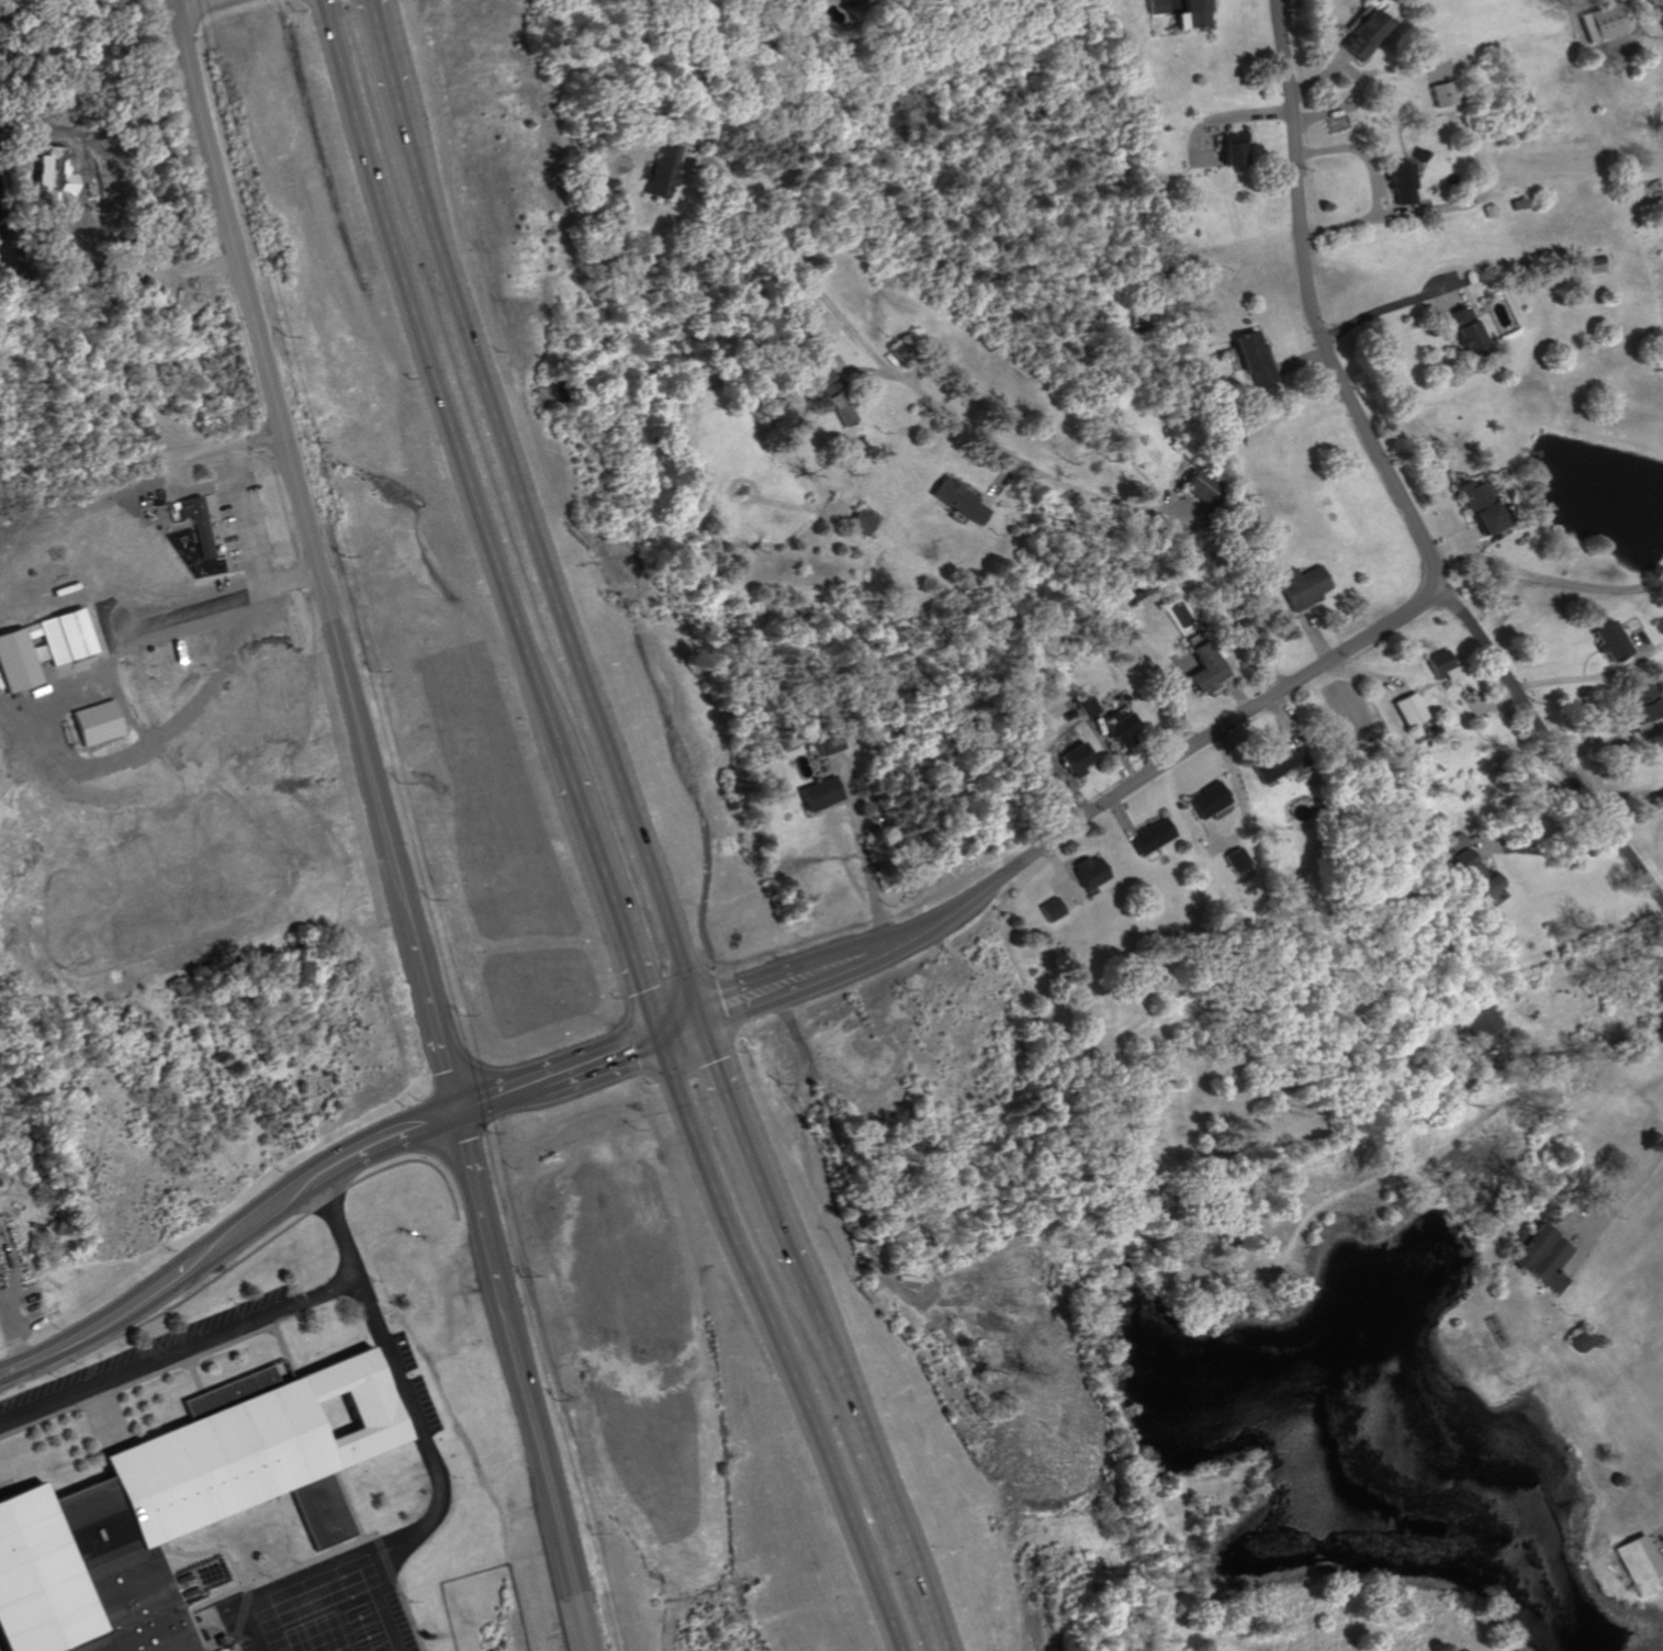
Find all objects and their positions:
road: (177, 1)
building: (845, 1)
road: (1168, 2)
building: (1154, 5)
road: (1582, 5)
building: (1189, 12)
building: (1598, 22)
building: (1359, 31)
road: (398, 69)
road: (1318, 75)
building: (1438, 93)
road: (1224, 117)
building: (1229, 147)
building: (656, 169)
building: (1395, 180)
building: (1514, 202)
road: (1356, 221)
road: (785, 251)
road: (147, 270)
road: (1390, 305)
building: (1462, 327)
building: (899, 351)
building: (1250, 357)
road: (1297, 361)
road: (857, 368)
building: (818, 373)
road: (912, 374)
road: (438, 380)
building: (835, 401)
road: (120, 458)
road: (289, 460)
road: (999, 484)
building: (1196, 486)
building: (957, 499)
road: (1119, 505)
building: (1477, 505)
road: (1176, 508)
road: (251, 513)
building: (863, 521)
building: (194, 523)
road: (1465, 536)
road: (1543, 576)
road: (548, 584)
building: (1301, 586)
building: (1136, 595)
road: (1411, 609)
road: (201, 614)
road: (1314, 633)
building: (1605, 640)
road: (1632, 643)
building: (42, 647)
building: (1436, 663)
building: (1203, 665)
road: (1366, 674)
road: (1589, 676)
road: (1233, 692)
road: (1177, 700)
road: (1487, 701)
building: (1642, 703)
building: (1079, 706)
building: (1406, 709)
building: (1454, 714)
building: (1064, 715)
road: (1281, 721)
building: (95, 722)
building: (1115, 728)
road: (1548, 739)
building: (825, 742)
road: (1613, 742)
building: (1662, 744)
road: (1105, 749)
building: (1068, 759)
building: (1273, 763)
road: (1063, 784)
building: (814, 791)
road: (1236, 795)
road: (1627, 796)
building: (1204, 799)
road: (1115, 818)
road: (1211, 829)
building: (1145, 835)
building: (1456, 841)
road: (1225, 845)
road: (1546, 847)
road: (861, 849)
building: (1232, 860)
building: (1082, 871)
building: (1474, 872)
road: (1058, 877)
road: (606, 897)
building: (1048, 908)
road: (784, 991)
road: (430, 1018)
traffic signals: (700, 1024)
building: (1481, 1025)
road: (678, 1031)
traffic signals: (658, 1038)
road: (1571, 1052)
road: (597, 1059)
road: (496, 1098)
road: (373, 1147)
road: (749, 1157)
road: (843, 1177)
road: (479, 1210)
road: (1613, 1212)
road: (245, 1222)
building: (1542, 1258)
road: (102, 1324)
building: (1582, 1341)
road: (768, 1345)
road: (179, 1350)
road: (531, 1427)
road: (434, 1461)
road: (862, 1472)
building: (180, 1504)
road: (1662, 1550)
building: (1639, 1564)
road: (570, 1599)
road: (374, 1608)
road: (229, 1618)

